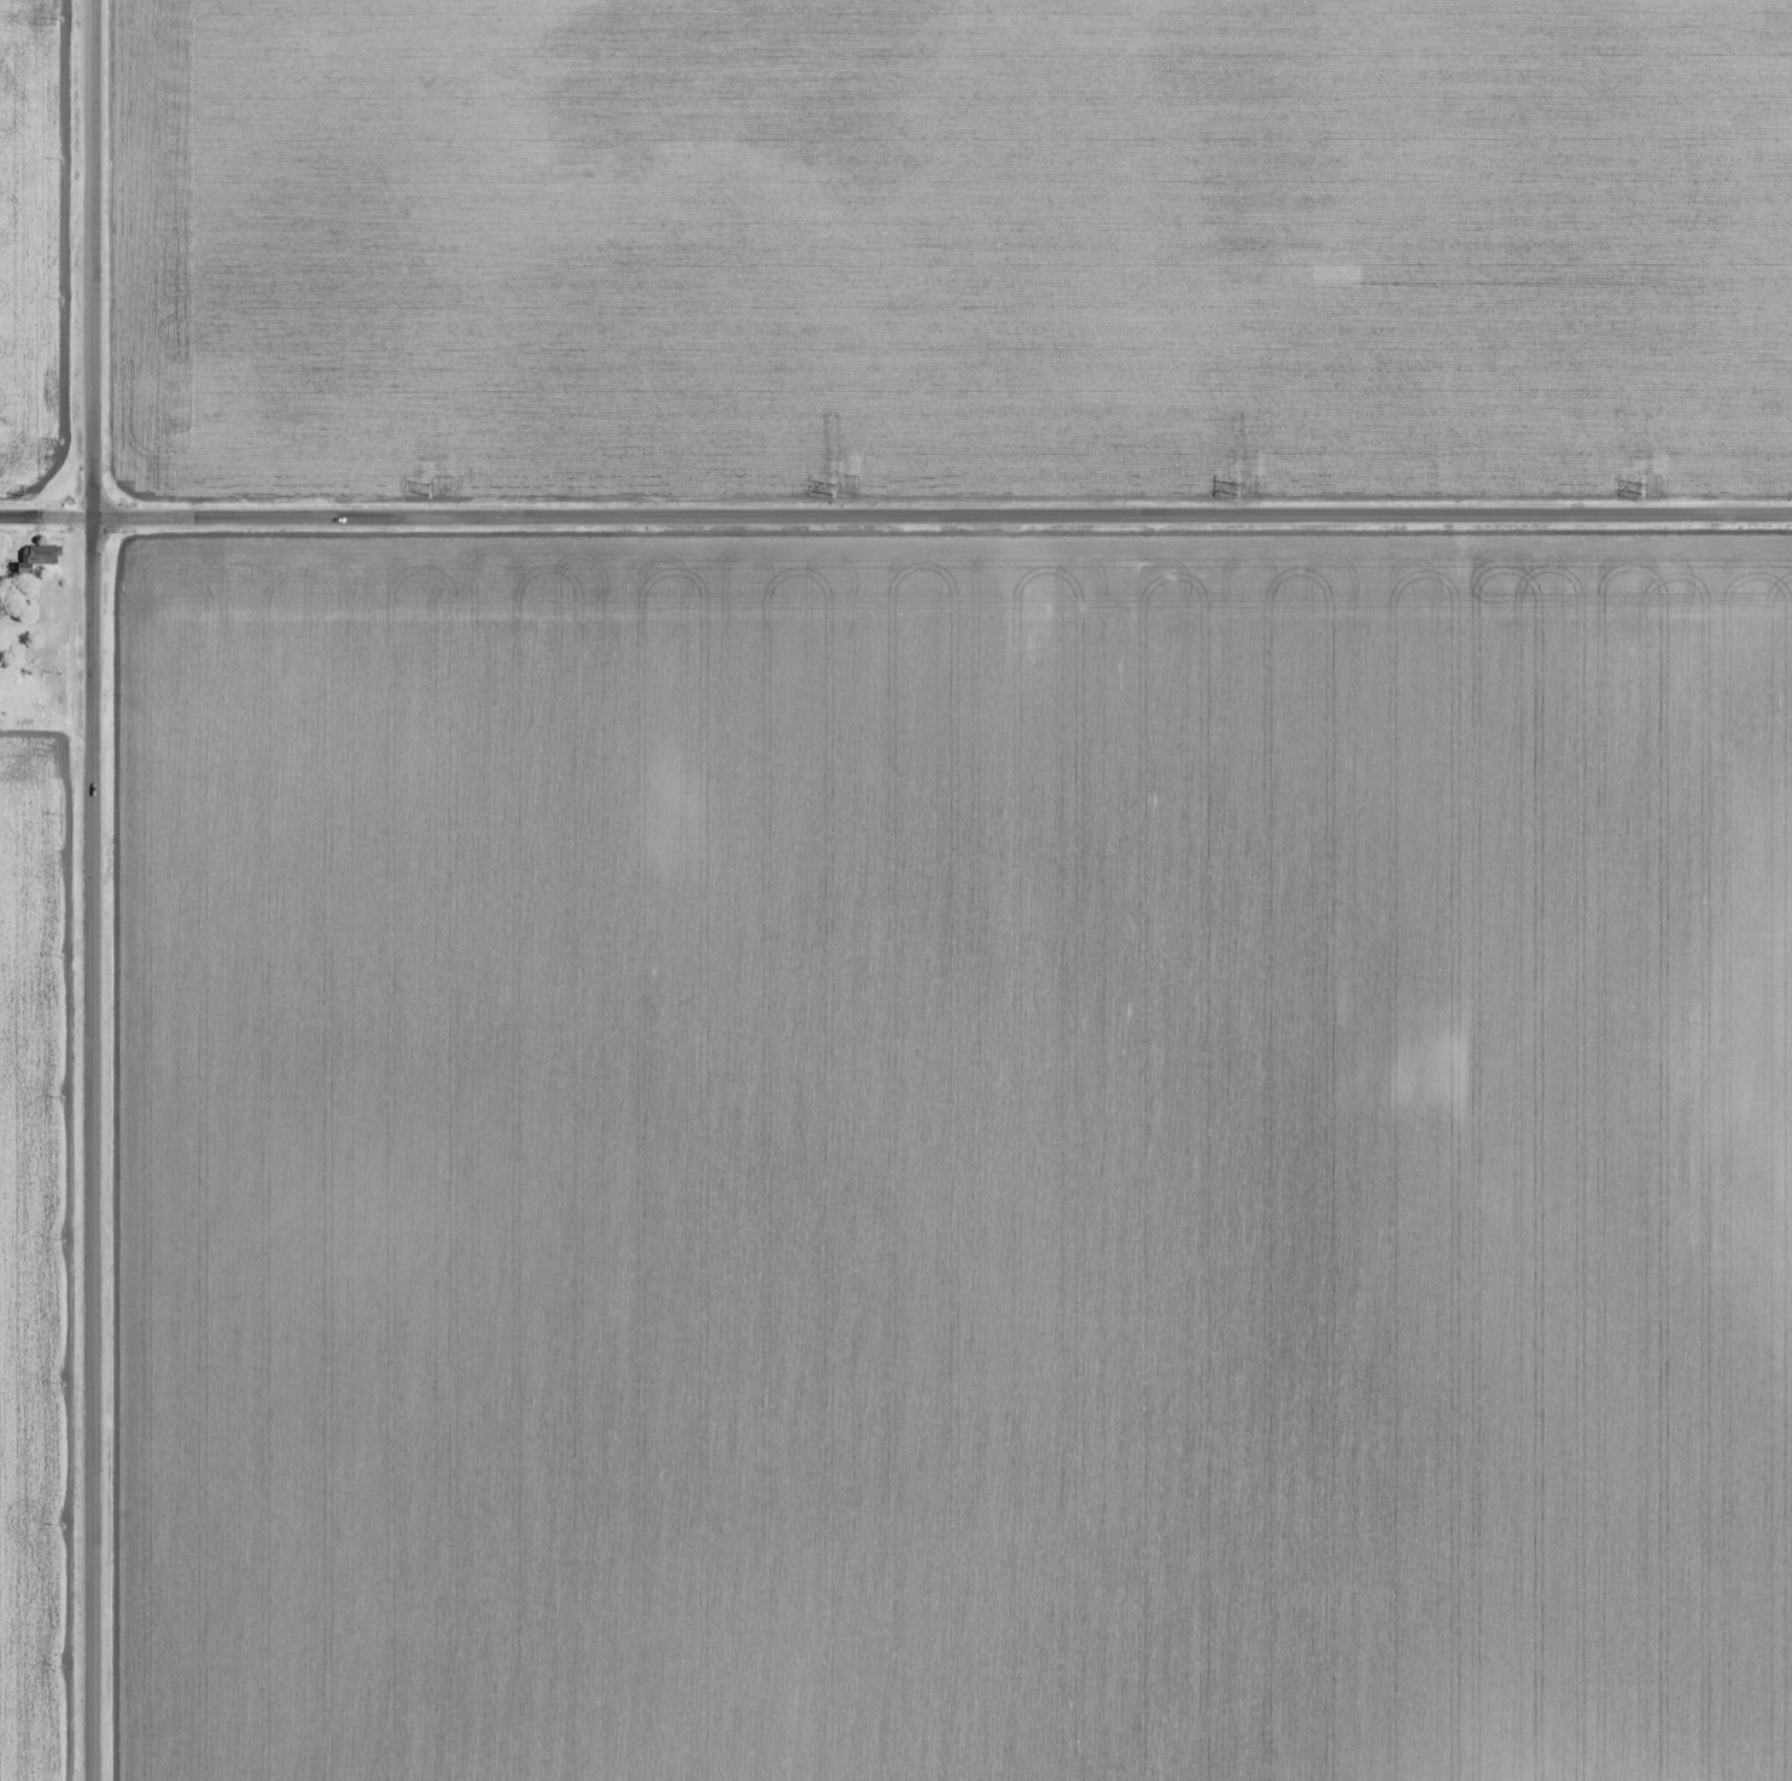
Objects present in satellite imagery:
power tower: (430, 487)
power tower: (834, 489)
power tower: (1238, 489)
power tower: (1644, 489)
power tower: (25, 491)
road: (895, 515)
building: (37, 559)
road: (93, 890)

